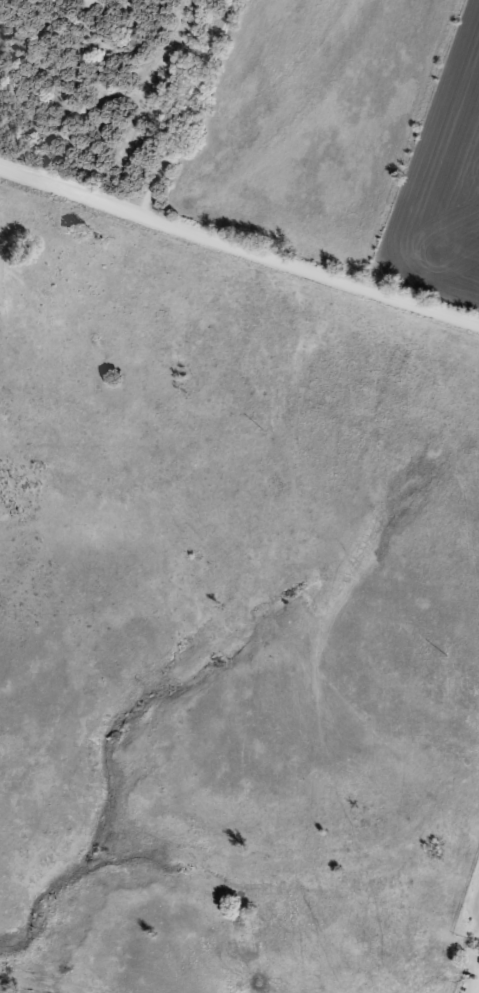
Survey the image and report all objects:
road: (239, 243)

